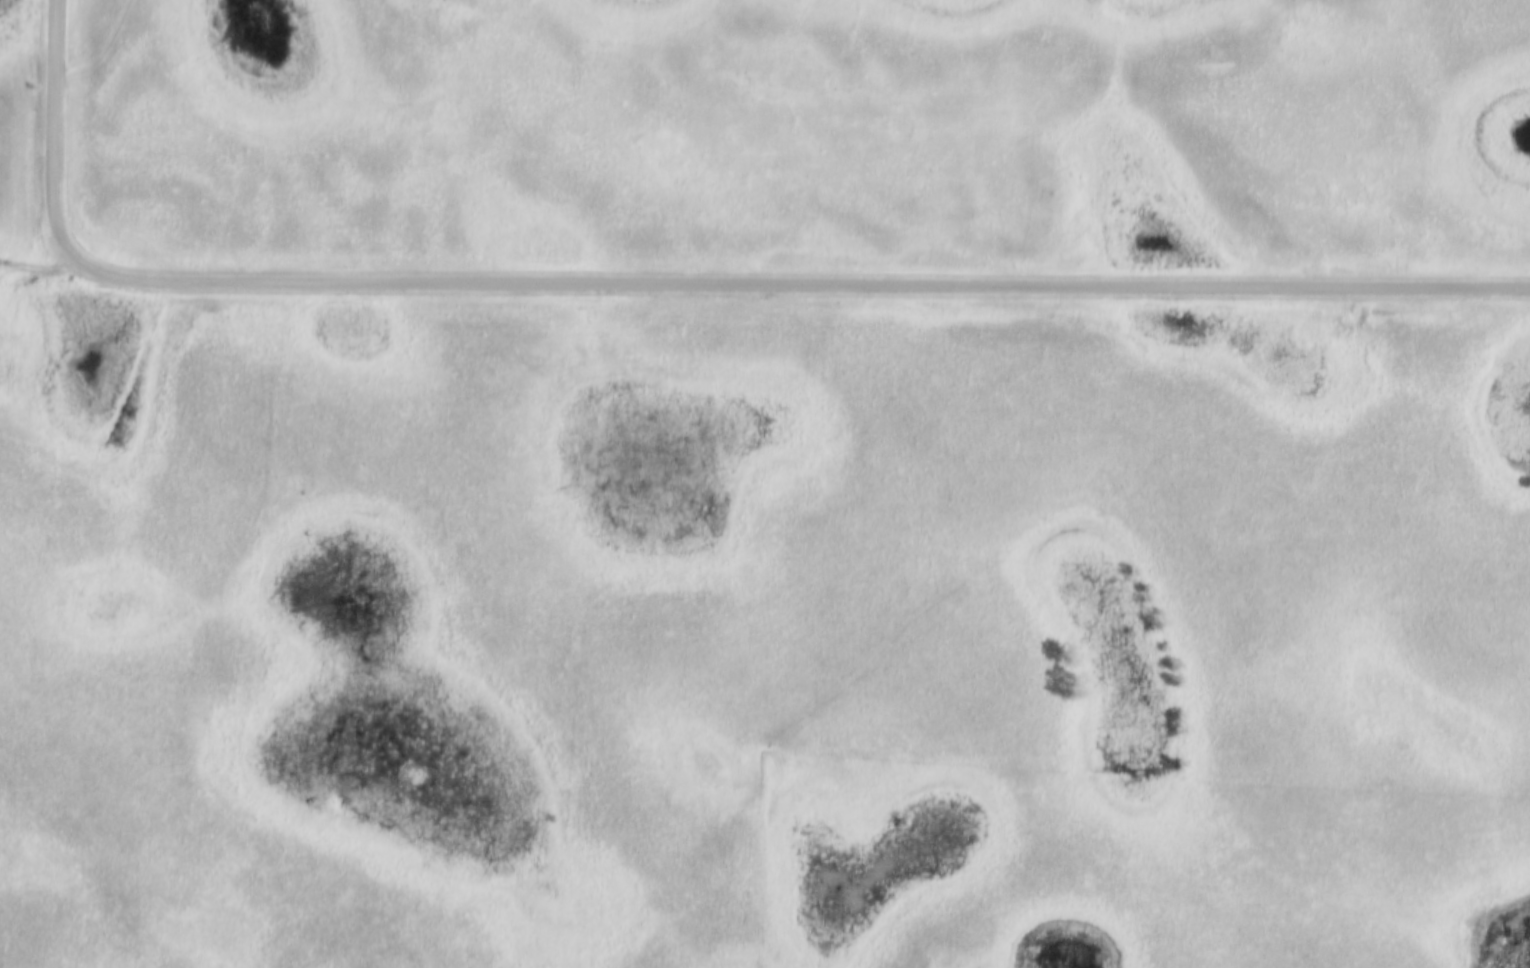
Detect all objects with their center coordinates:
road: (56, 137)
road: (42, 278)
road: (803, 292)

